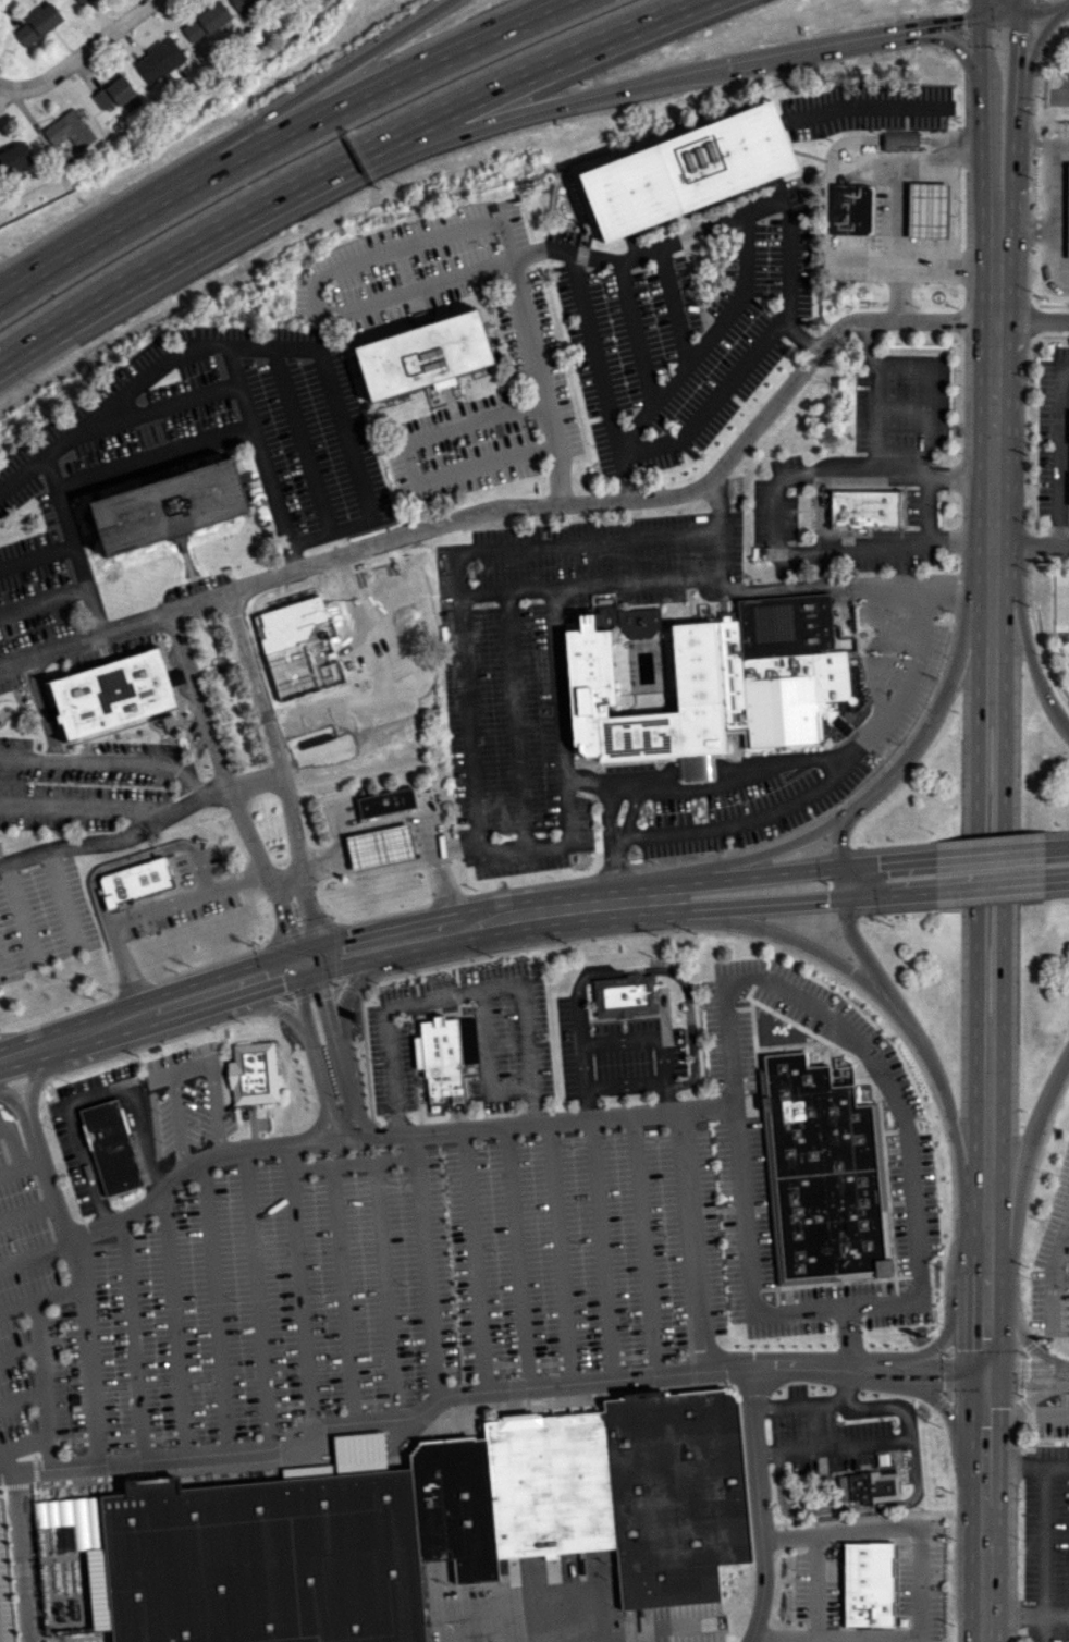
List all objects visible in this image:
building: (81, 1)
road: (1006, 1)
road: (1009, 1)
road: (1018, 4)
building: (245, 5)
road: (1012, 5)
road: (978, 9)
road: (993, 12)
road: (1044, 13)
traffic signals: (963, 21)
building: (205, 22)
road: (942, 23)
building: (37, 25)
traffic signals: (1017, 33)
road: (949, 44)
building: (201, 48)
road: (978, 48)
road: (1033, 50)
road: (81, 54)
building: (158, 60)
road: (553, 61)
park: (1060, 63)
road: (659, 78)
road: (316, 85)
road: (379, 87)
road: (0, 88)
building: (113, 93)
road: (1060, 98)
road: (1012, 103)
building: (69, 131)
road: (979, 139)
building: (900, 140)
road: (1040, 144)
building: (14, 158)
building: (687, 170)
road: (1053, 187)
road: (898, 203)
road: (758, 208)
building: (850, 210)
building: (927, 210)
gas station: (1053, 212)
building: (1067, 213)
road: (1053, 234)
road: (201, 236)
road: (95, 241)
road: (540, 254)
road: (945, 269)
road: (318, 282)
road: (679, 302)
road: (1031, 321)
road: (642, 330)
road: (706, 342)
building: (425, 355)
road: (599, 376)
road: (541, 381)
road: (993, 385)
road: (332, 388)
road: (925, 392)
road: (712, 402)
road: (170, 404)
road: (108, 406)
road: (299, 440)
road: (1058, 453)
road: (259, 457)
road: (152, 458)
road: (411, 461)
road: (960, 476)
road: (930, 477)
road: (782, 478)
building: (170, 506)
building: (864, 508)
road: (524, 510)
road: (329, 531)
road: (960, 536)
road: (914, 541)
road: (72, 543)
road: (565, 544)
road: (1030, 544)
road: (36, 559)
road: (587, 586)
road: (771, 590)
road: (44, 602)
road: (990, 639)
road: (878, 654)
road: (1029, 655)
road: (560, 684)
building: (642, 688)
building: (113, 694)
road: (938, 703)
road: (38, 709)
road: (467, 720)
road: (515, 721)
road: (863, 742)
road: (109, 763)
road: (281, 780)
road: (602, 783)
road: (1003, 783)
road: (975, 784)
road: (231, 795)
building: (385, 802)
road: (78, 807)
road: (606, 811)
road: (630, 813)
road: (738, 823)
road: (143, 828)
road: (426, 830)
gas station: (382, 838)
traffic signals: (838, 844)
road: (552, 846)
building: (379, 847)
road: (453, 847)
road: (1056, 847)
road: (988, 853)
road: (753, 855)
road: (116, 862)
road: (320, 862)
road: (615, 862)
traffic signals: (876, 862)
road: (843, 865)
road: (199, 871)
road: (282, 872)
road: (774, 874)
road: (1056, 881)
building: (134, 882)
road: (441, 884)
road: (988, 887)
road: (913, 893)
road: (871, 896)
road: (60, 899)
traffic signals: (826, 900)
road: (614, 903)
road: (730, 907)
road: (140, 911)
road: (19, 912)
road: (409, 921)
road: (848, 928)
traffic signals: (284, 930)
traffic signals: (346, 936)
road: (413, 948)
road: (1002, 957)
road: (974, 958)
traffic signals: (282, 982)
road: (680, 984)
building: (624, 995)
traffic signals: (321, 998)
road: (442, 1000)
road: (892, 1004)
road: (270, 1005)
road: (125, 1018)
road: (578, 1021)
road: (525, 1032)
road: (619, 1042)
road: (19, 1053)
road: (337, 1055)
parking lot: (612, 1055)
building: (439, 1057)
road: (316, 1058)
road: (29, 1073)
building: (254, 1074)
road: (218, 1088)
road: (10, 1091)
road: (91, 1099)
road: (179, 1100)
road: (392, 1137)
road: (986, 1137)
road: (1028, 1140)
building: (112, 1149)
road: (15, 1154)
road: (353, 1163)
road: (30, 1164)
building: (825, 1173)
road: (920, 1212)
road: (27, 1213)
parking lot: (454, 1222)
road: (1066, 1233)
road: (644, 1247)
road: (986, 1247)
road: (601, 1251)
road: (34, 1253)
road: (560, 1254)
road: (692, 1254)
road: (518, 1258)
road: (474, 1262)
parking lot: (1053, 1263)
road: (1053, 1266)
road: (426, 1269)
road: (78, 1276)
road: (1059, 1279)
road: (300, 1286)
road: (385, 1290)
road: (341, 1295)
road: (40, 1299)
road: (257, 1299)
road: (216, 1309)
road: (956, 1320)
road: (1015, 1325)
road: (174, 1326)
road: (848, 1338)
road: (135, 1341)
road: (21, 1353)
road: (917, 1363)
road: (985, 1364)
road: (1027, 1369)
traffic signals: (985, 1373)
road: (916, 1381)
road: (1027, 1385)
road: (44, 1395)
road: (22, 1401)
road: (795, 1406)
road: (421, 1408)
road: (950, 1417)
road: (1011, 1421)
road: (900, 1441)
road: (49, 1456)
road: (1027, 1465)
building: (869, 1486)
building: (595, 1494)
road: (760, 1507)
road: (848, 1507)
road: (983, 1553)
road: (1044, 1553)
building: (272, 1557)
road: (24, 1558)
building: (71, 1568)
building: (869, 1584)
road: (815, 1586)
road: (921, 1588)
road: (1025, 1616)

